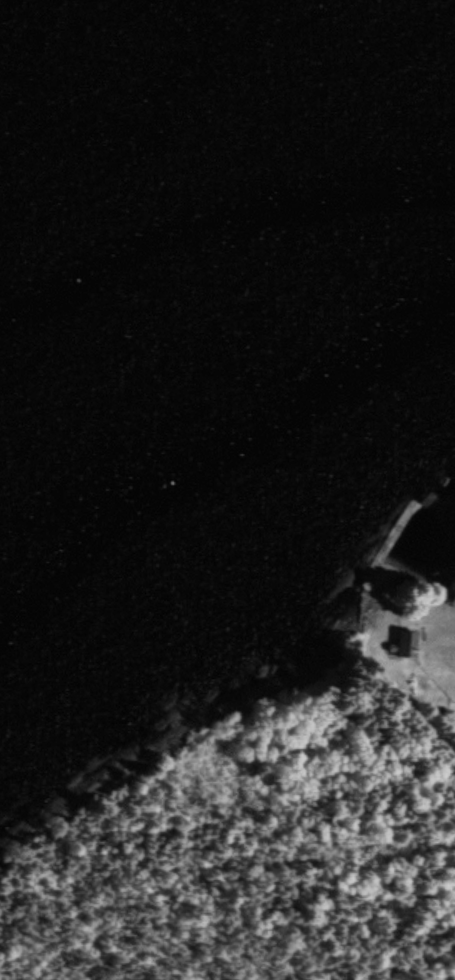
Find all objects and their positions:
building: (403, 645)

